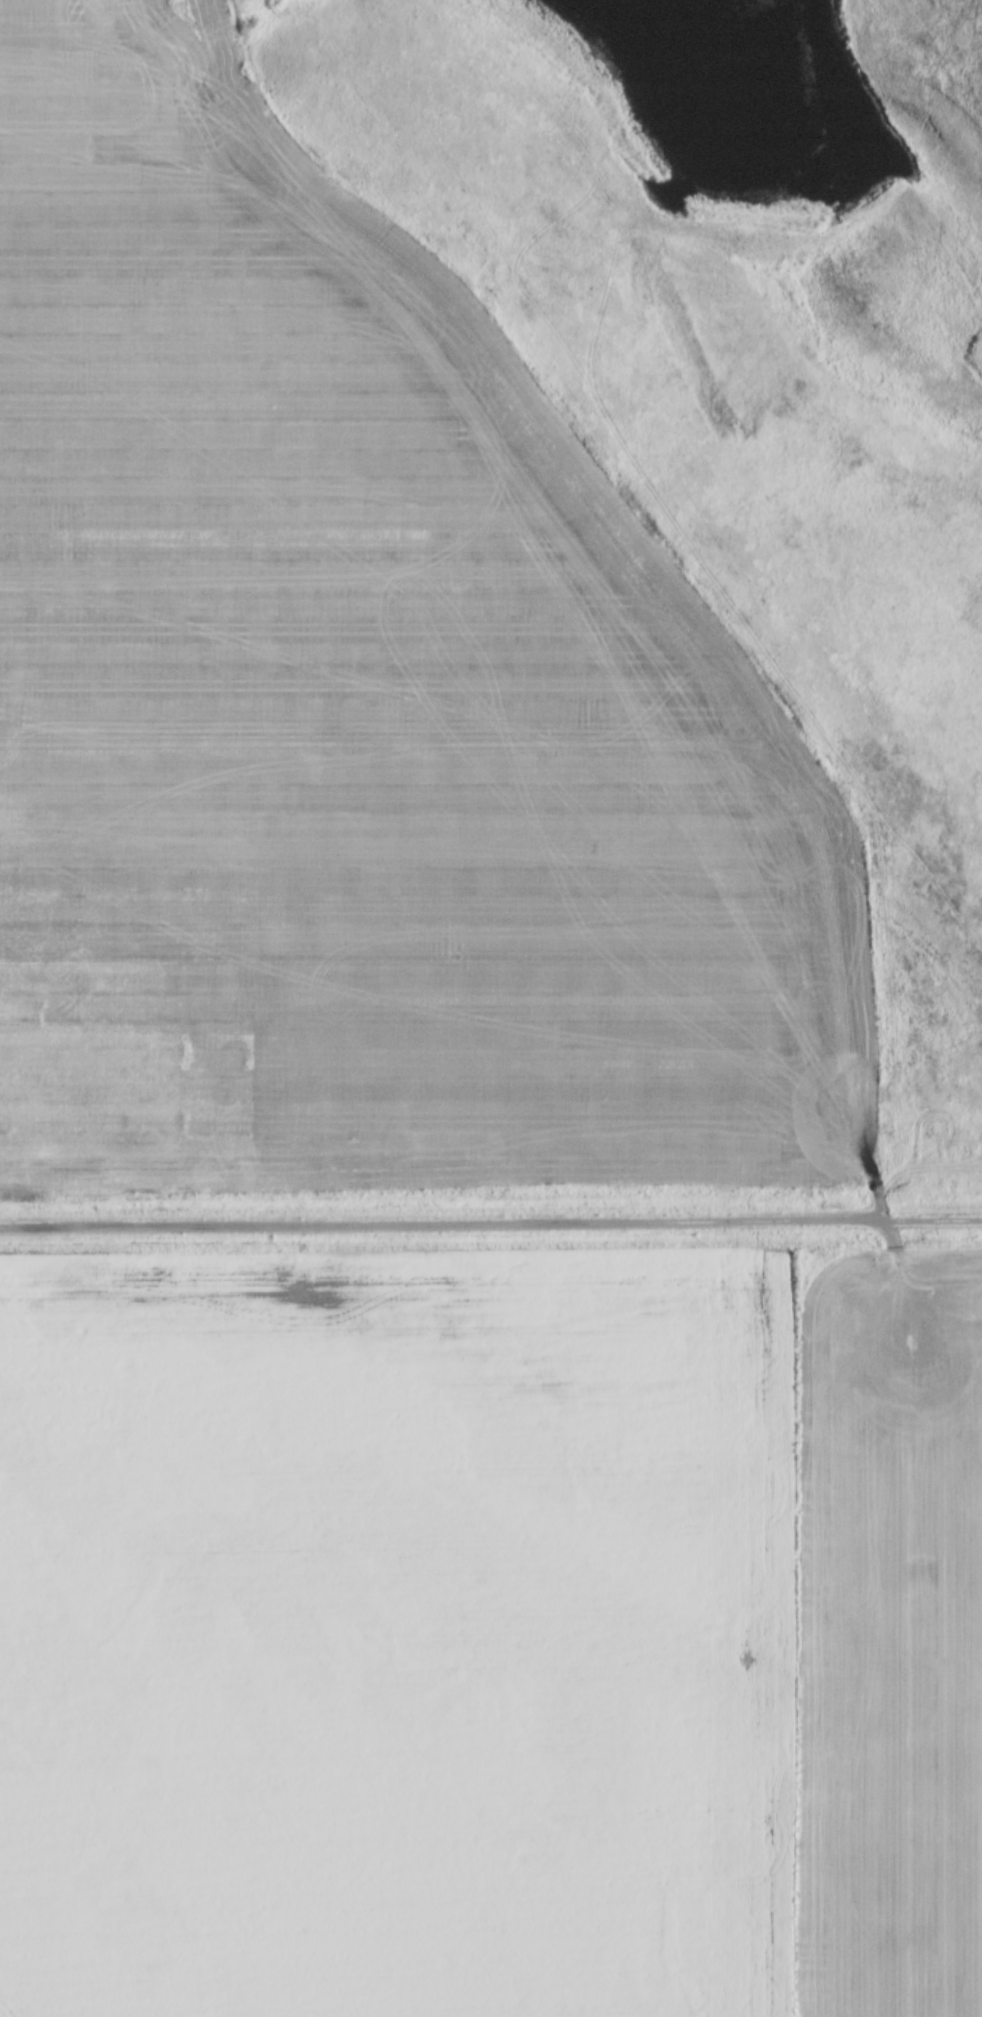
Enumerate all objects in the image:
road: (491, 1220)
road: (925, 1313)
crop: (889, 1635)

